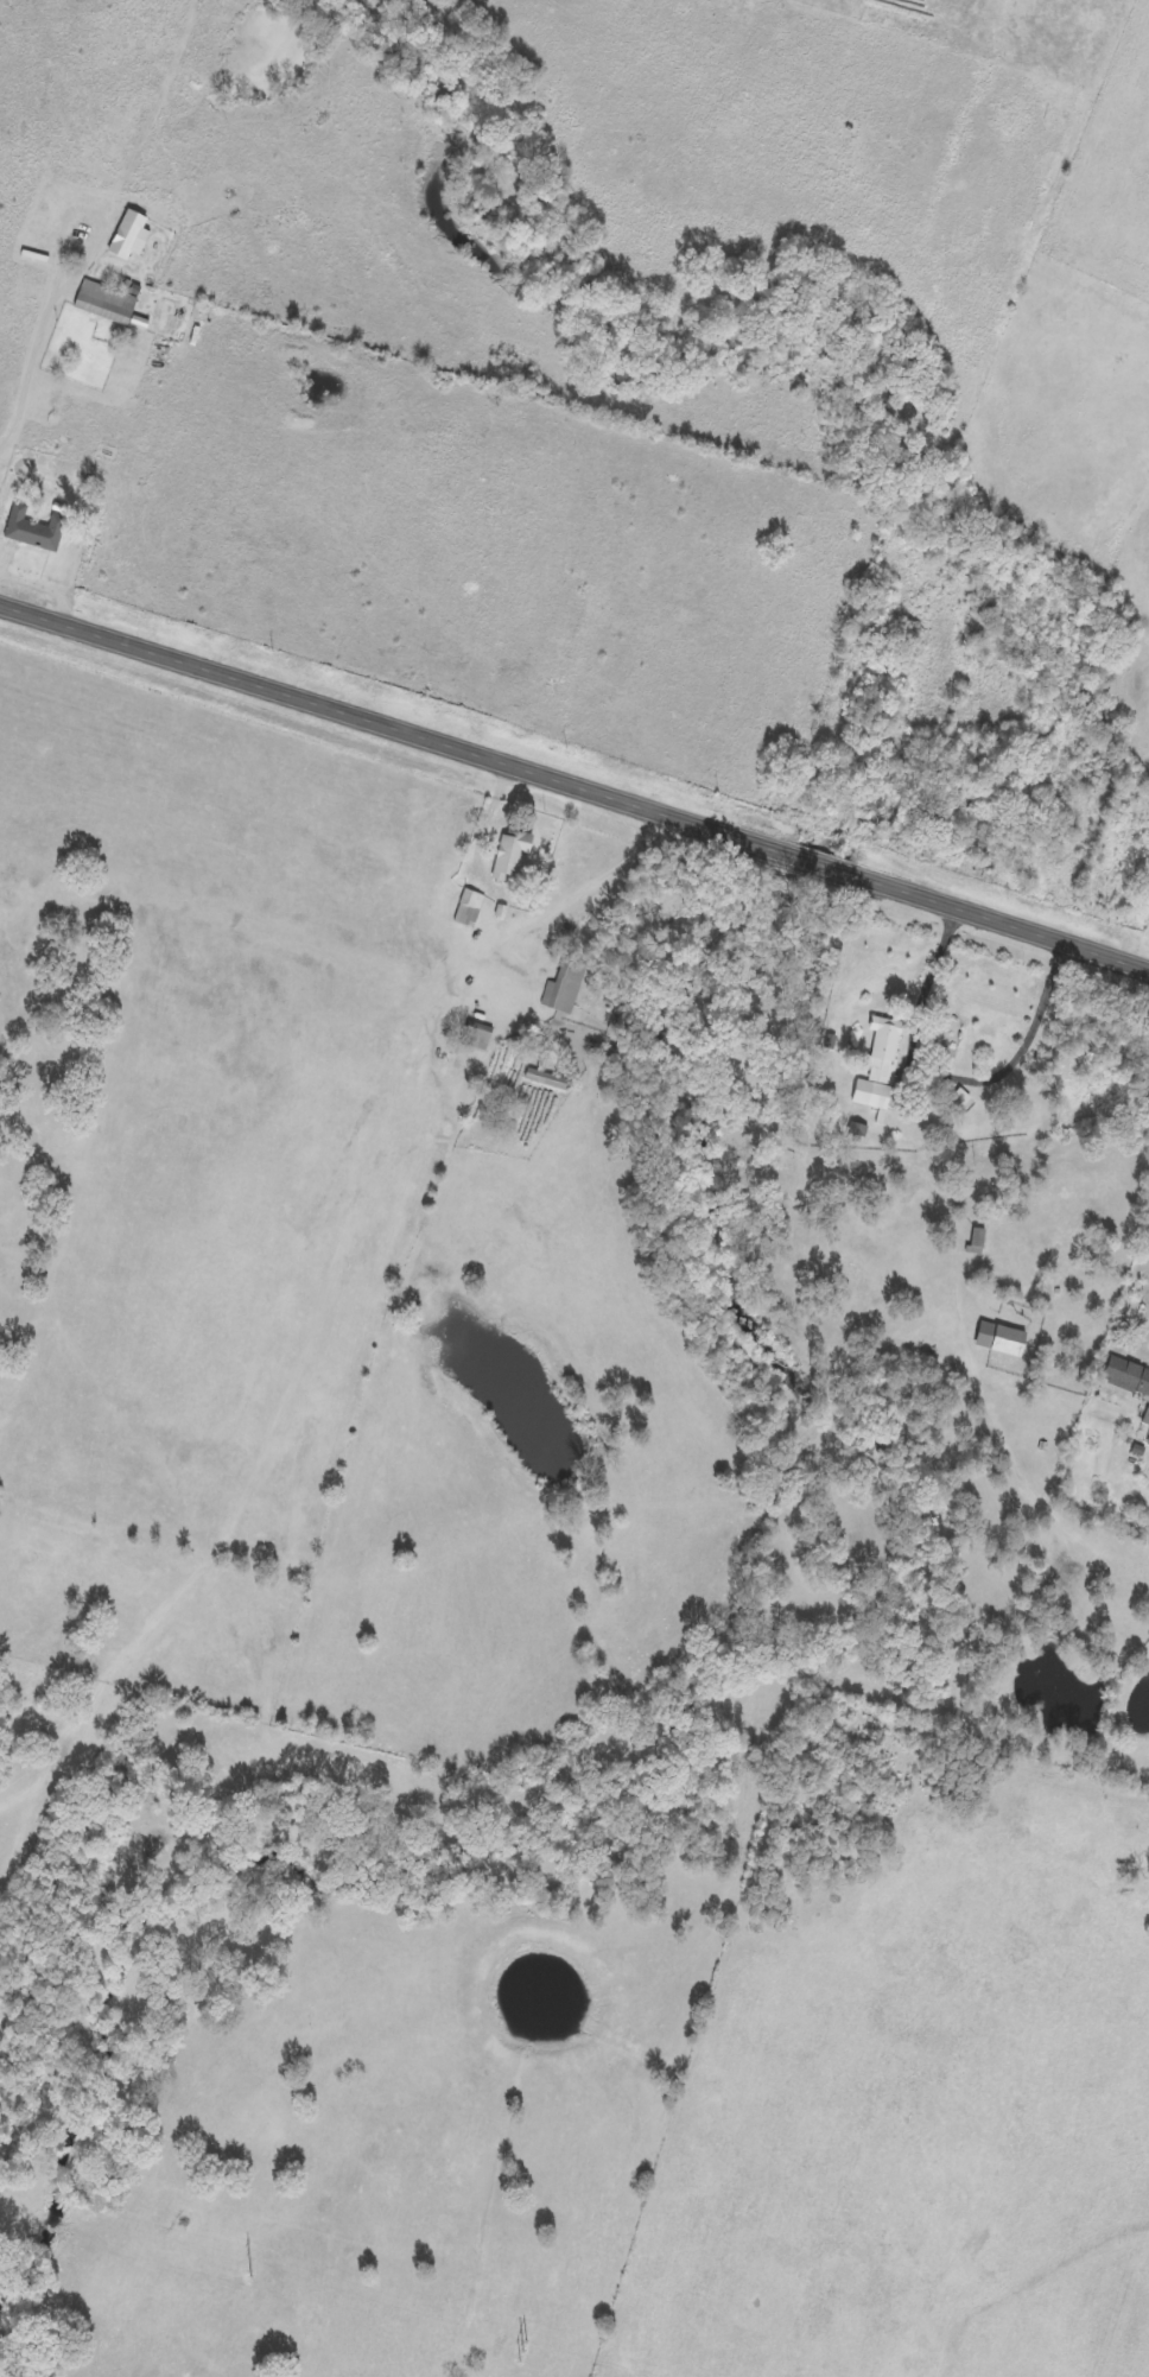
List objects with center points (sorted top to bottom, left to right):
building: (131, 237)
building: (106, 304)
building: (34, 531)
road: (574, 786)
building: (513, 854)
building: (469, 909)
building: (565, 988)
building: (480, 1031)
building: (881, 1066)
building: (548, 1082)
building: (961, 1101)
building: (977, 1242)
building: (1002, 1340)
building: (1128, 1377)
building: (1147, 1420)
power tower: (250, 2278)
power tower: (522, 2353)

